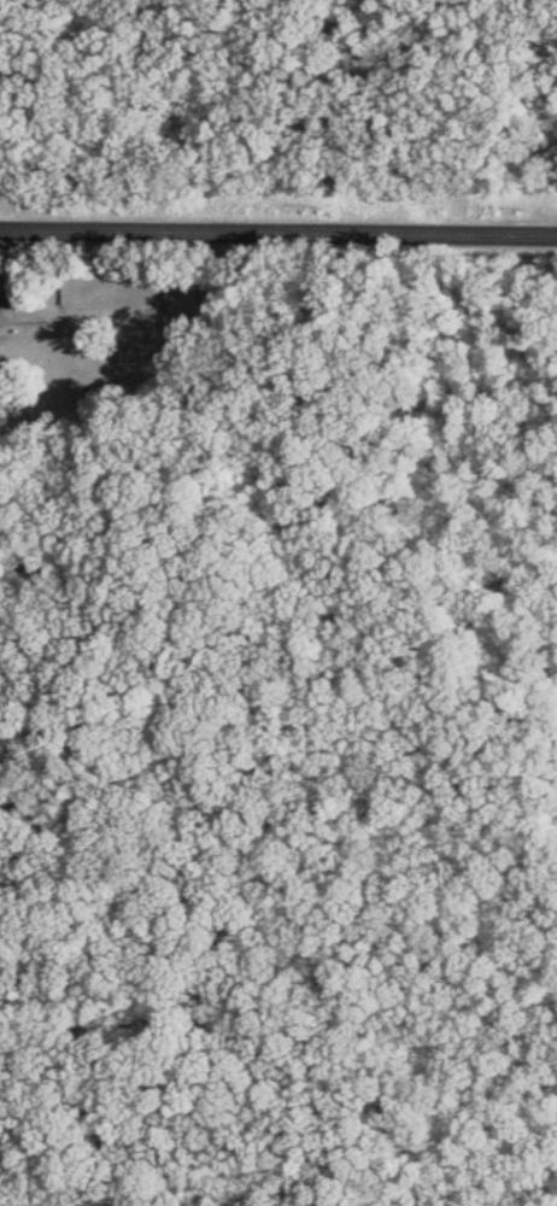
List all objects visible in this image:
road: (278, 230)
building: (12, 309)

